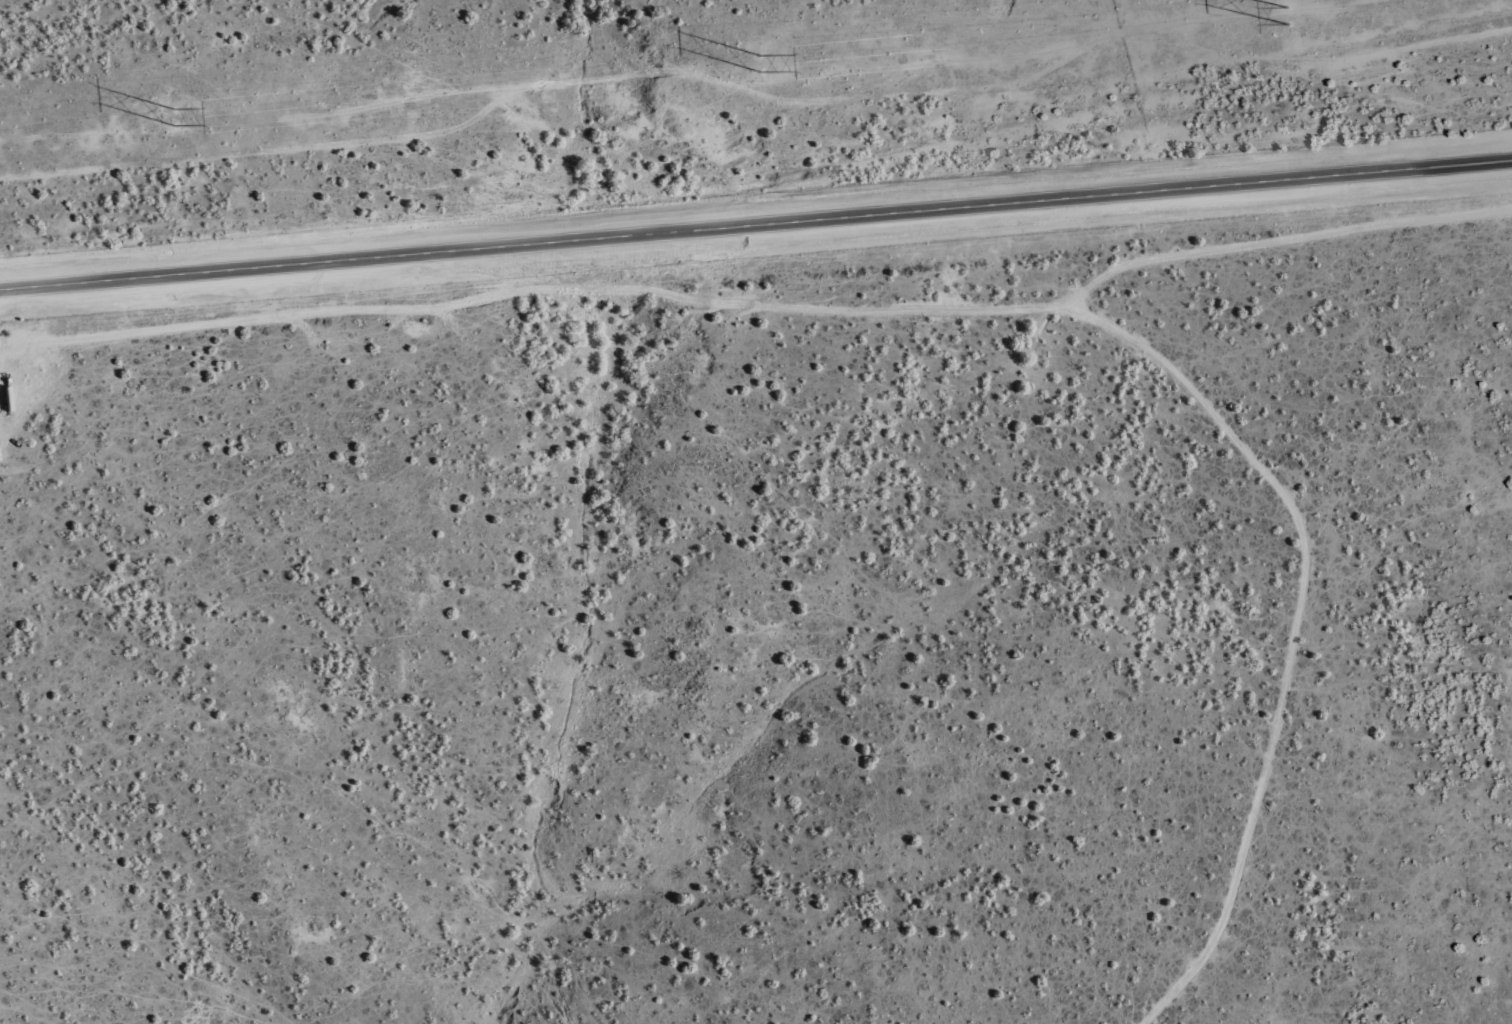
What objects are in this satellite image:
power tower: (1285, 14)
power tower: (760, 61)
power tower: (177, 115)
road: (755, 226)
road: (766, 337)
road: (1274, 666)

